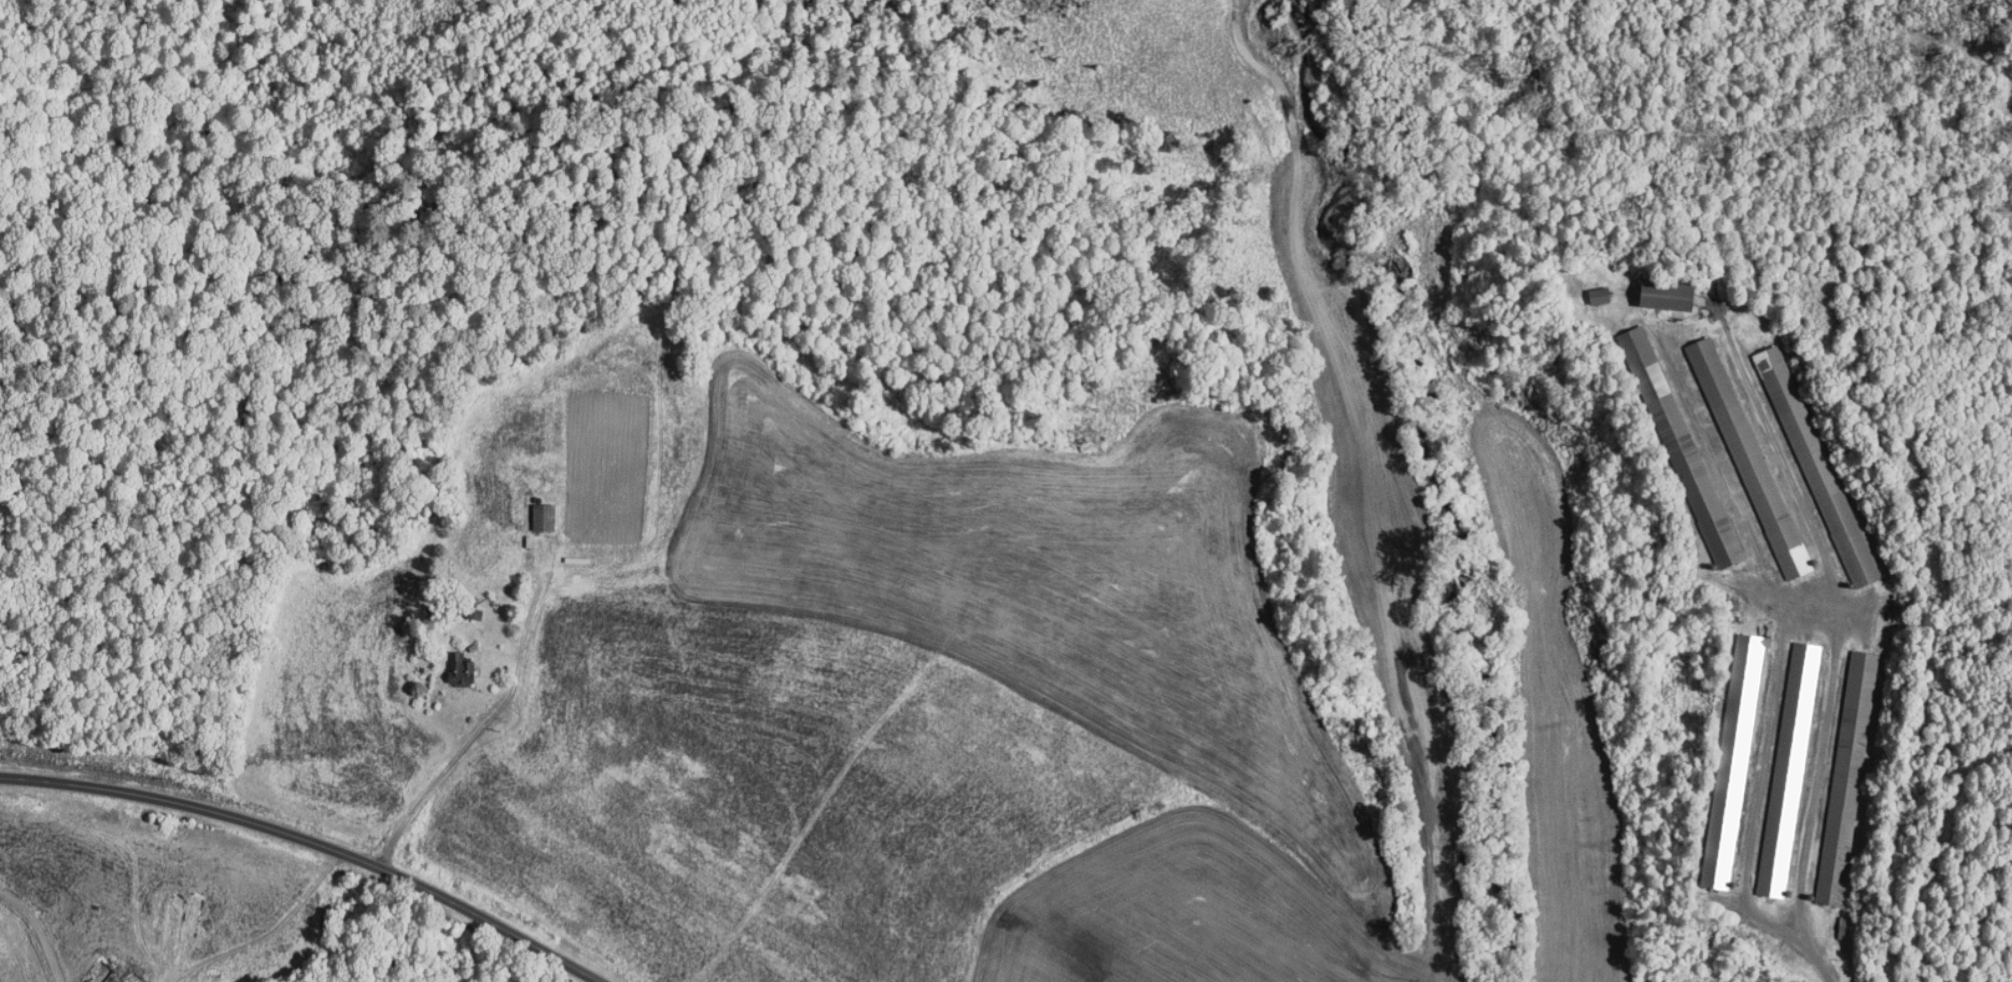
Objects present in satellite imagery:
road: (1796, 128)
building: (1586, 288)
building: (1653, 290)
building: (1668, 440)
building: (1736, 451)
building: (1804, 459)
building: (530, 510)
building: (463, 601)
road: (1793, 602)
building: (447, 664)
building: (1720, 753)
road: (434, 763)
building: (1776, 763)
building: (1836, 772)
road: (318, 840)
road: (261, 924)
road: (36, 931)
road: (1821, 962)

